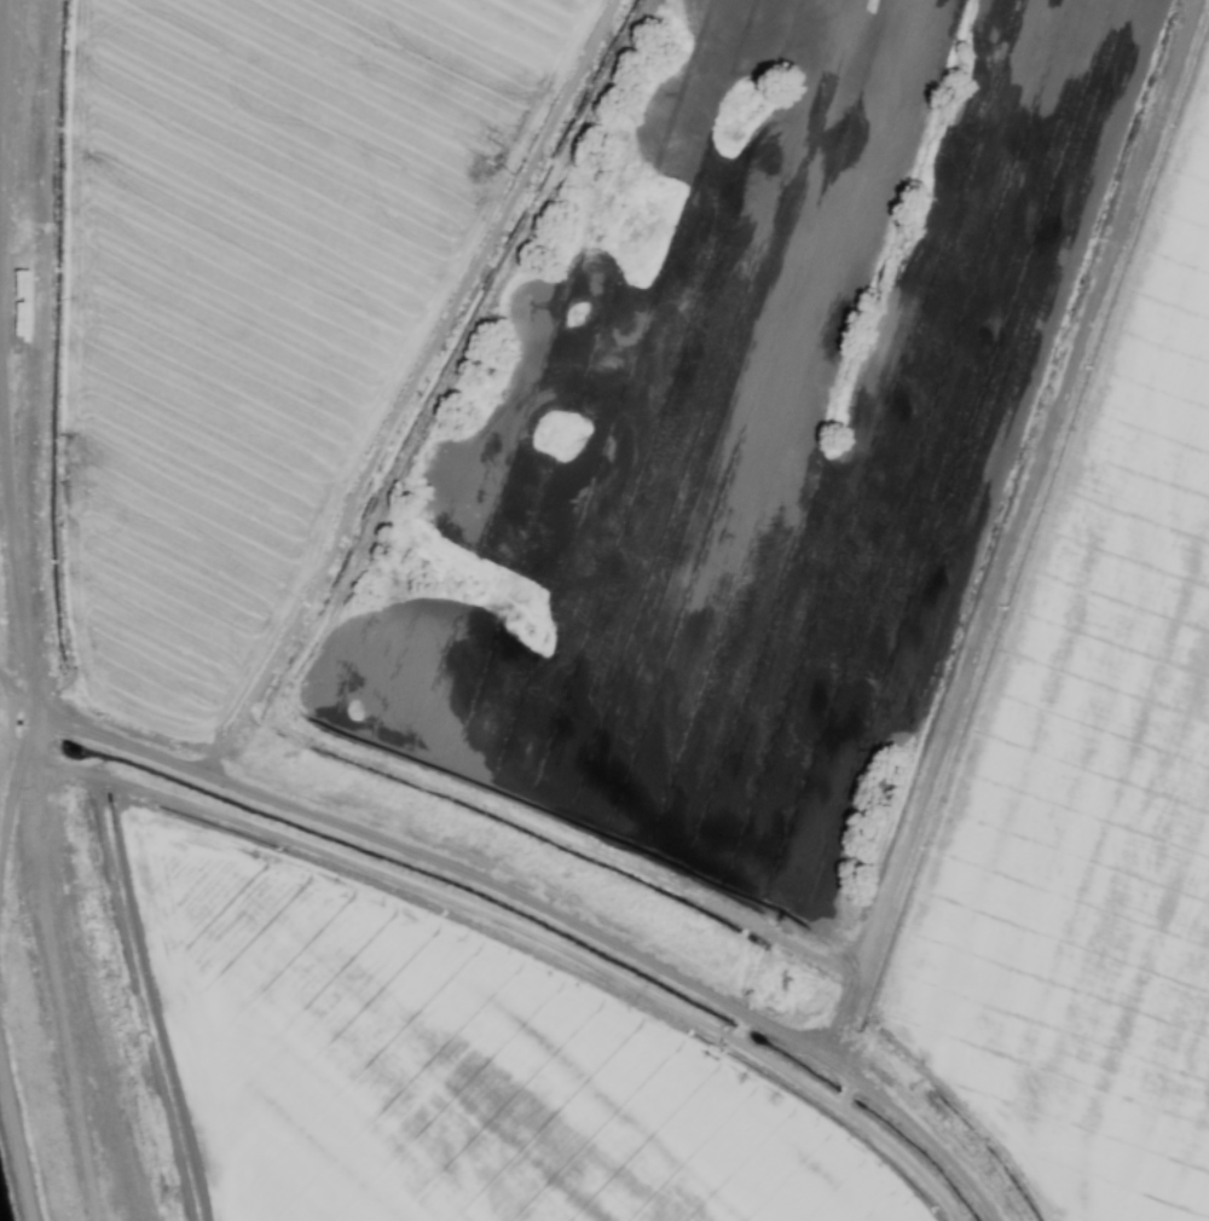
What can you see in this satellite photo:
crop: (618, 602)
road: (17, 1130)

